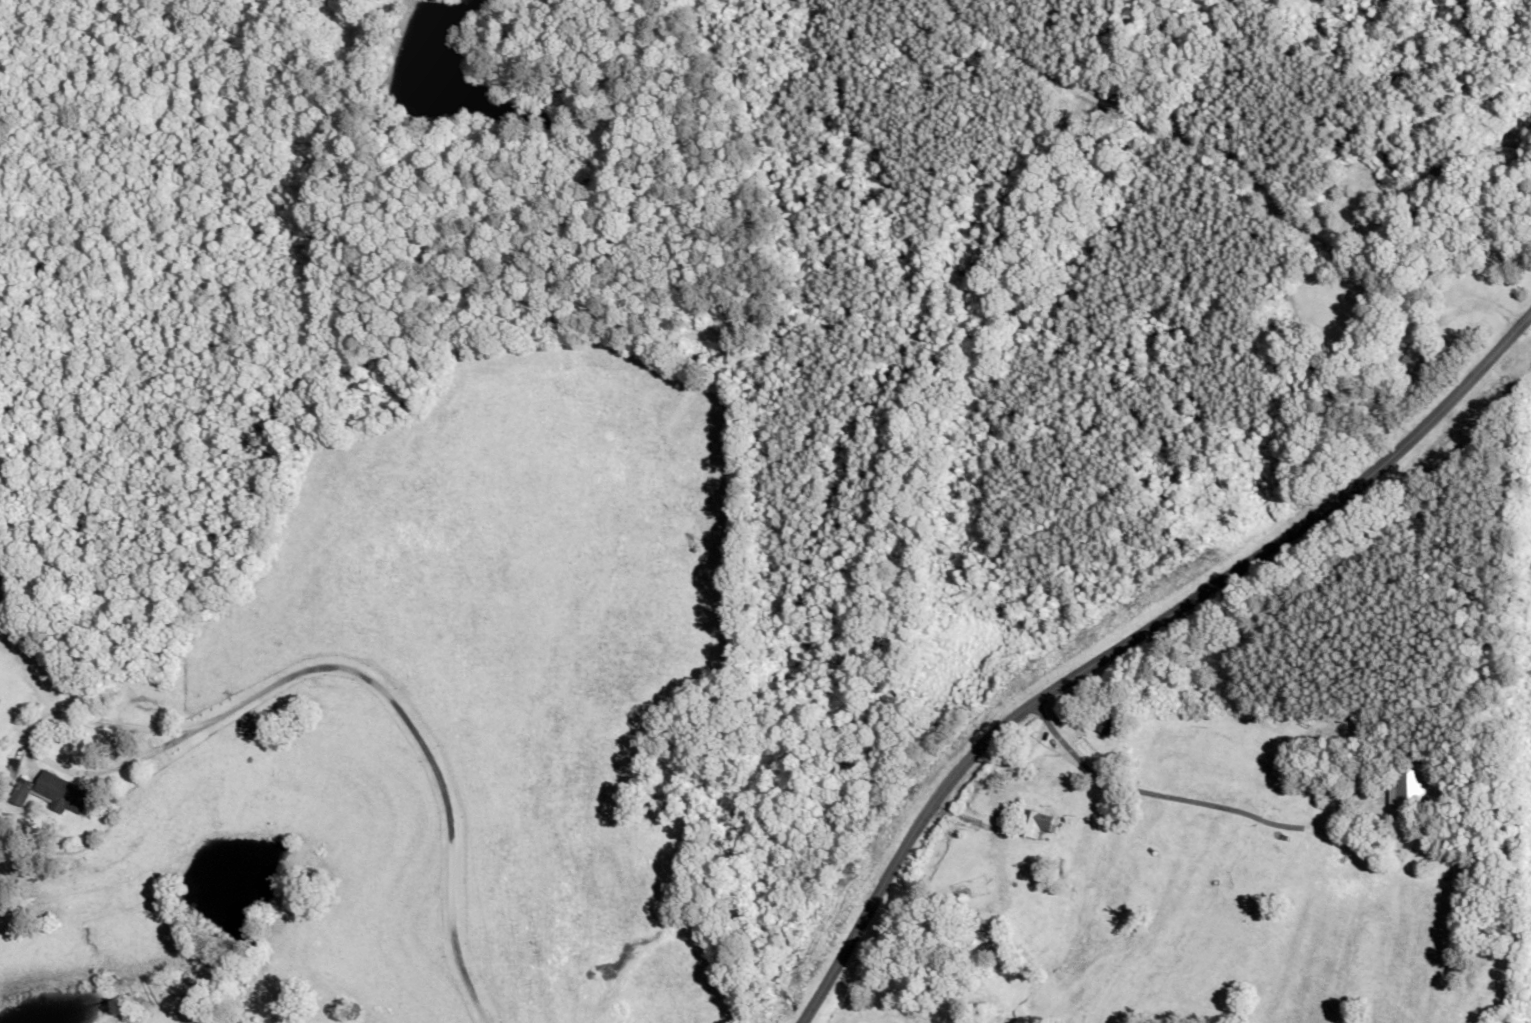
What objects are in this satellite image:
building: (1410, 362)
road: (1131, 638)
road: (368, 680)
building: (8, 772)
building: (1404, 785)
building: (47, 793)
building: (1030, 824)
building: (975, 923)

